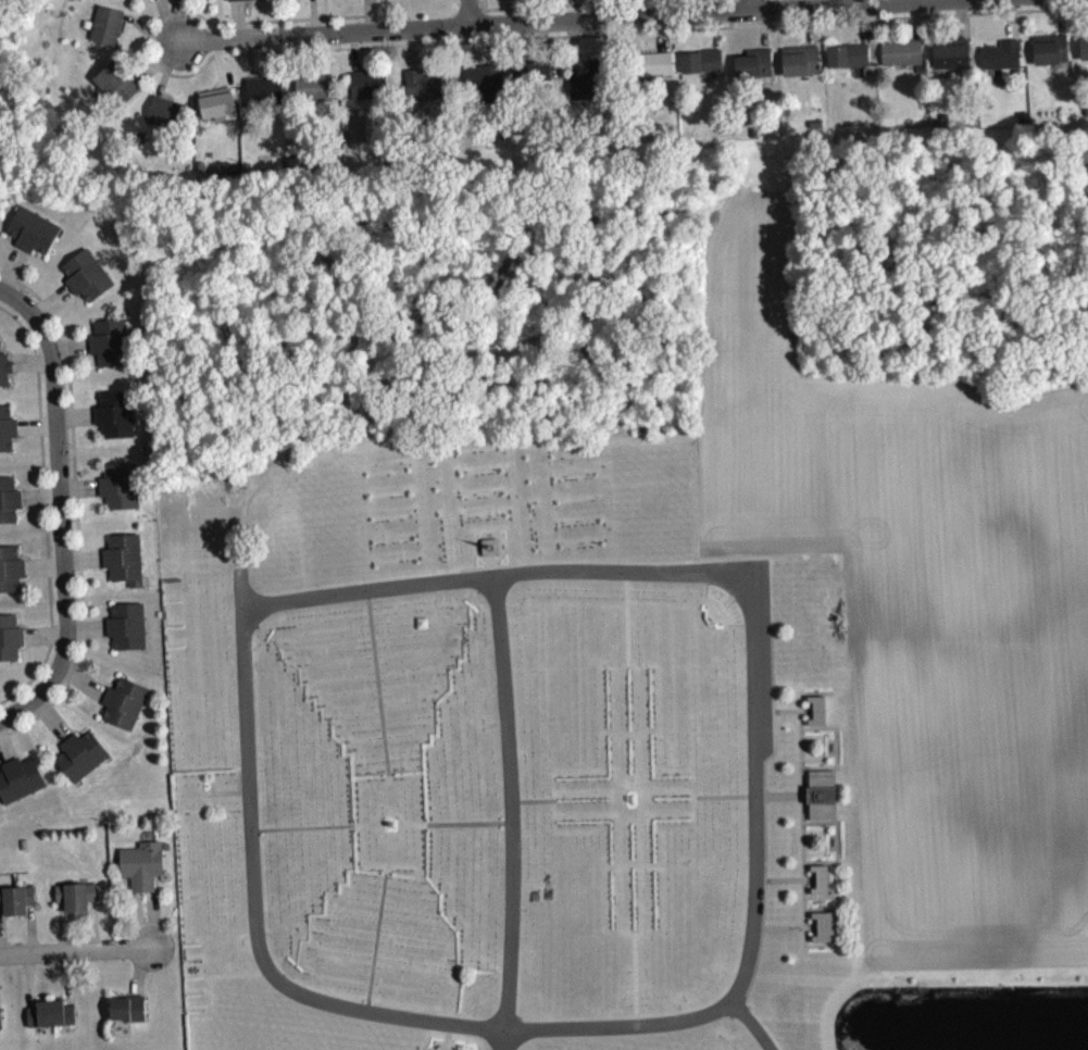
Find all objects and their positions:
building: (125, 0)
building: (137, 0)
building: (290, 0)
building: (339, 0)
building: (246, 3)
road: (748, 5)
road: (472, 12)
road: (550, 20)
building: (109, 33)
building: (1085, 55)
building: (1052, 57)
building: (903, 60)
building: (954, 62)
building: (850, 63)
building: (1003, 63)
building: (703, 68)
building: (802, 68)
building: (658, 72)
building: (755, 72)
building: (535, 82)
building: (486, 89)
building: (592, 89)
building: (117, 91)
building: (371, 91)
building: (424, 91)
building: (315, 95)
building: (265, 98)
building: (221, 115)
building: (167, 120)
building: (35, 238)
building: (89, 284)
building: (111, 350)
building: (5, 375)
building: (117, 422)
building: (8, 437)
building: (122, 493)
building: (10, 508)
road: (61, 510)
building: (126, 566)
road: (492, 574)
building: (12, 577)
crop: (920, 602)
road: (627, 617)
building: (129, 634)
building: (11, 645)
road: (377, 682)
road: (777, 710)
building: (126, 711)
building: (817, 711)
road: (836, 745)
building: (83, 763)
building: (21, 787)
road: (249, 792)
road: (754, 795)
building: (821, 795)
road: (749, 796)
road: (532, 799)
road: (511, 811)
road: (468, 823)
road: (302, 826)
road: (837, 840)
road: (803, 860)
building: (145, 873)
road: (779, 879)
building: (821, 879)
building: (77, 903)
building: (17, 908)
road: (778, 927)
building: (824, 927)
road: (376, 940)
road: (80, 952)
building: (129, 1016)
building: (52, 1022)
road: (752, 1023)
building: (1, 1026)
road: (492, 1027)

